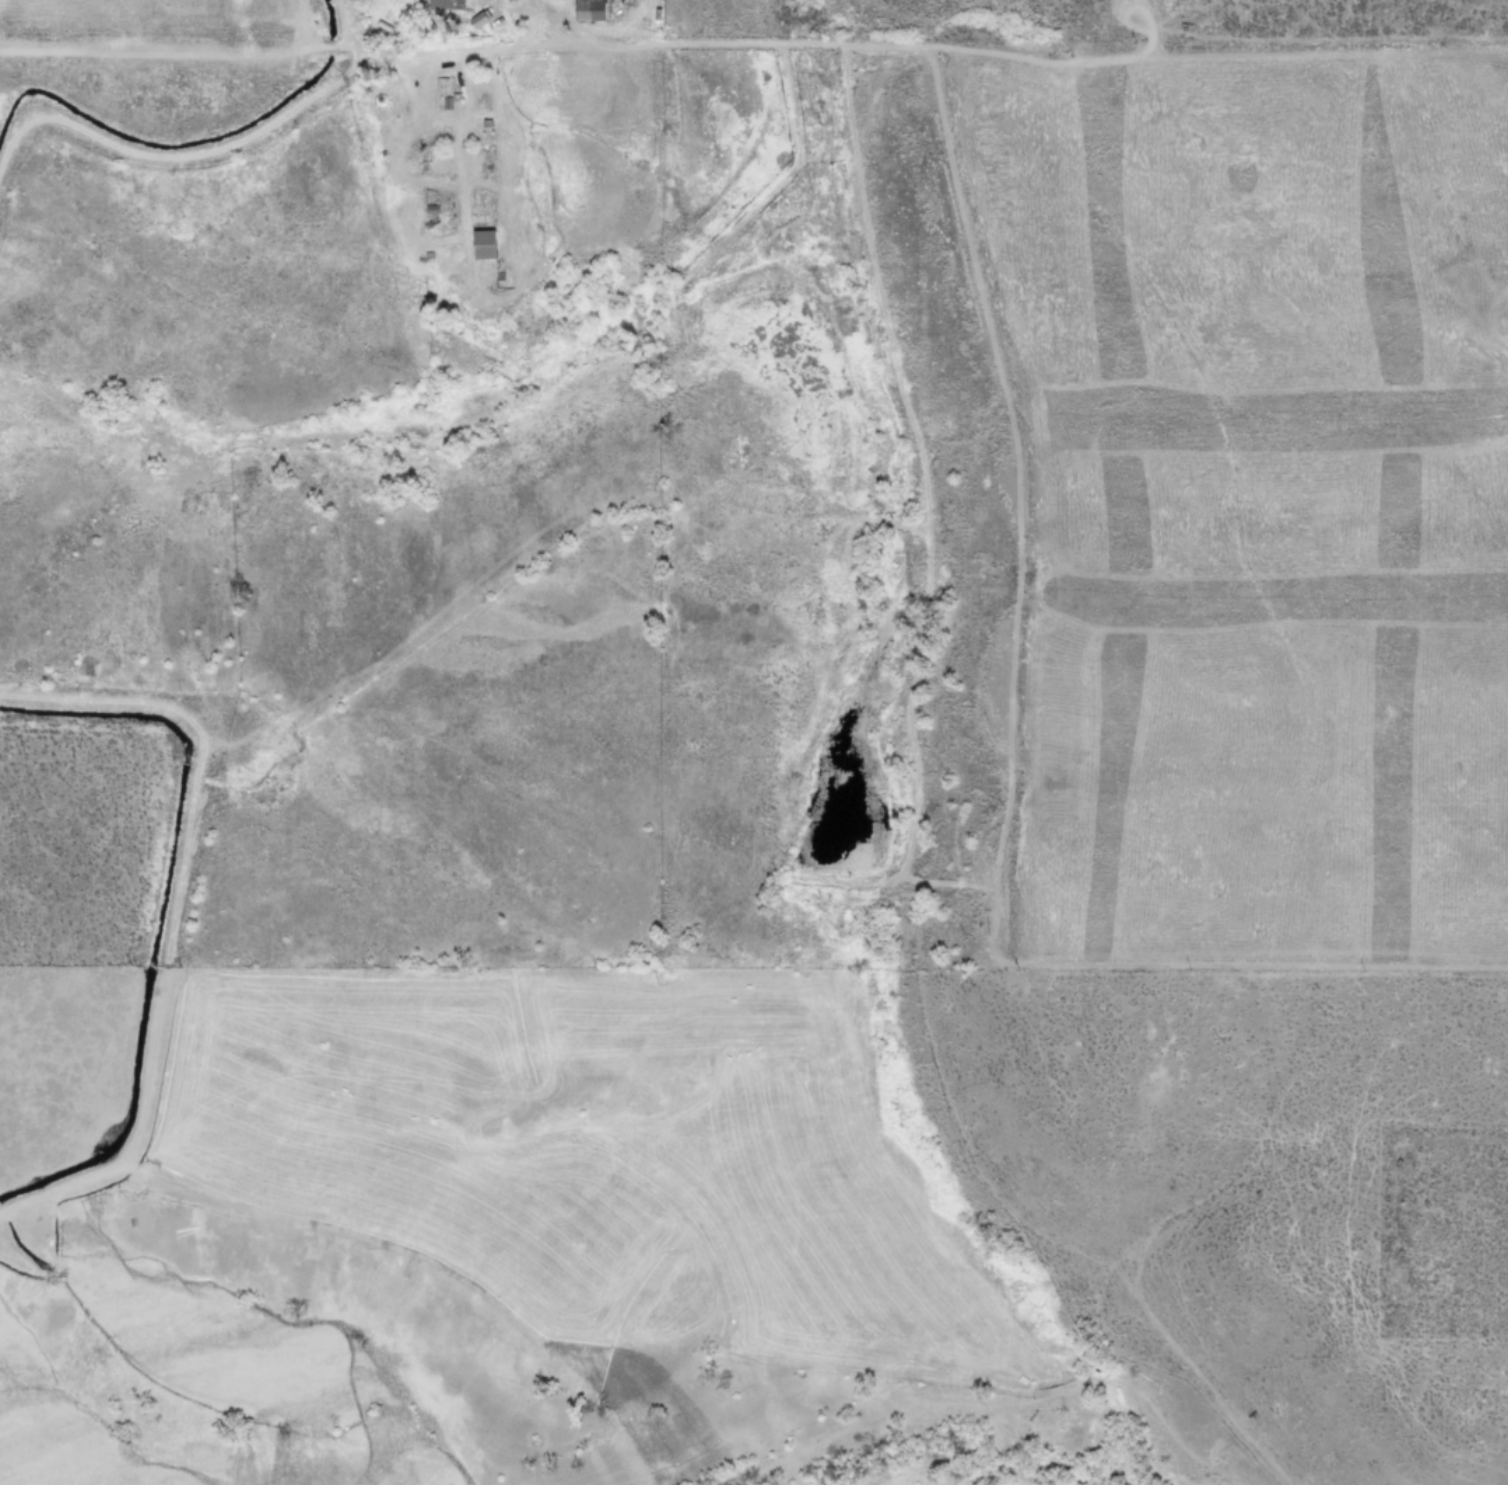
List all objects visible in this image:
building: (444, 3)
building: (589, 9)
building: (478, 20)
building: (443, 88)
building: (428, 228)
building: (482, 244)
building: (445, 256)

